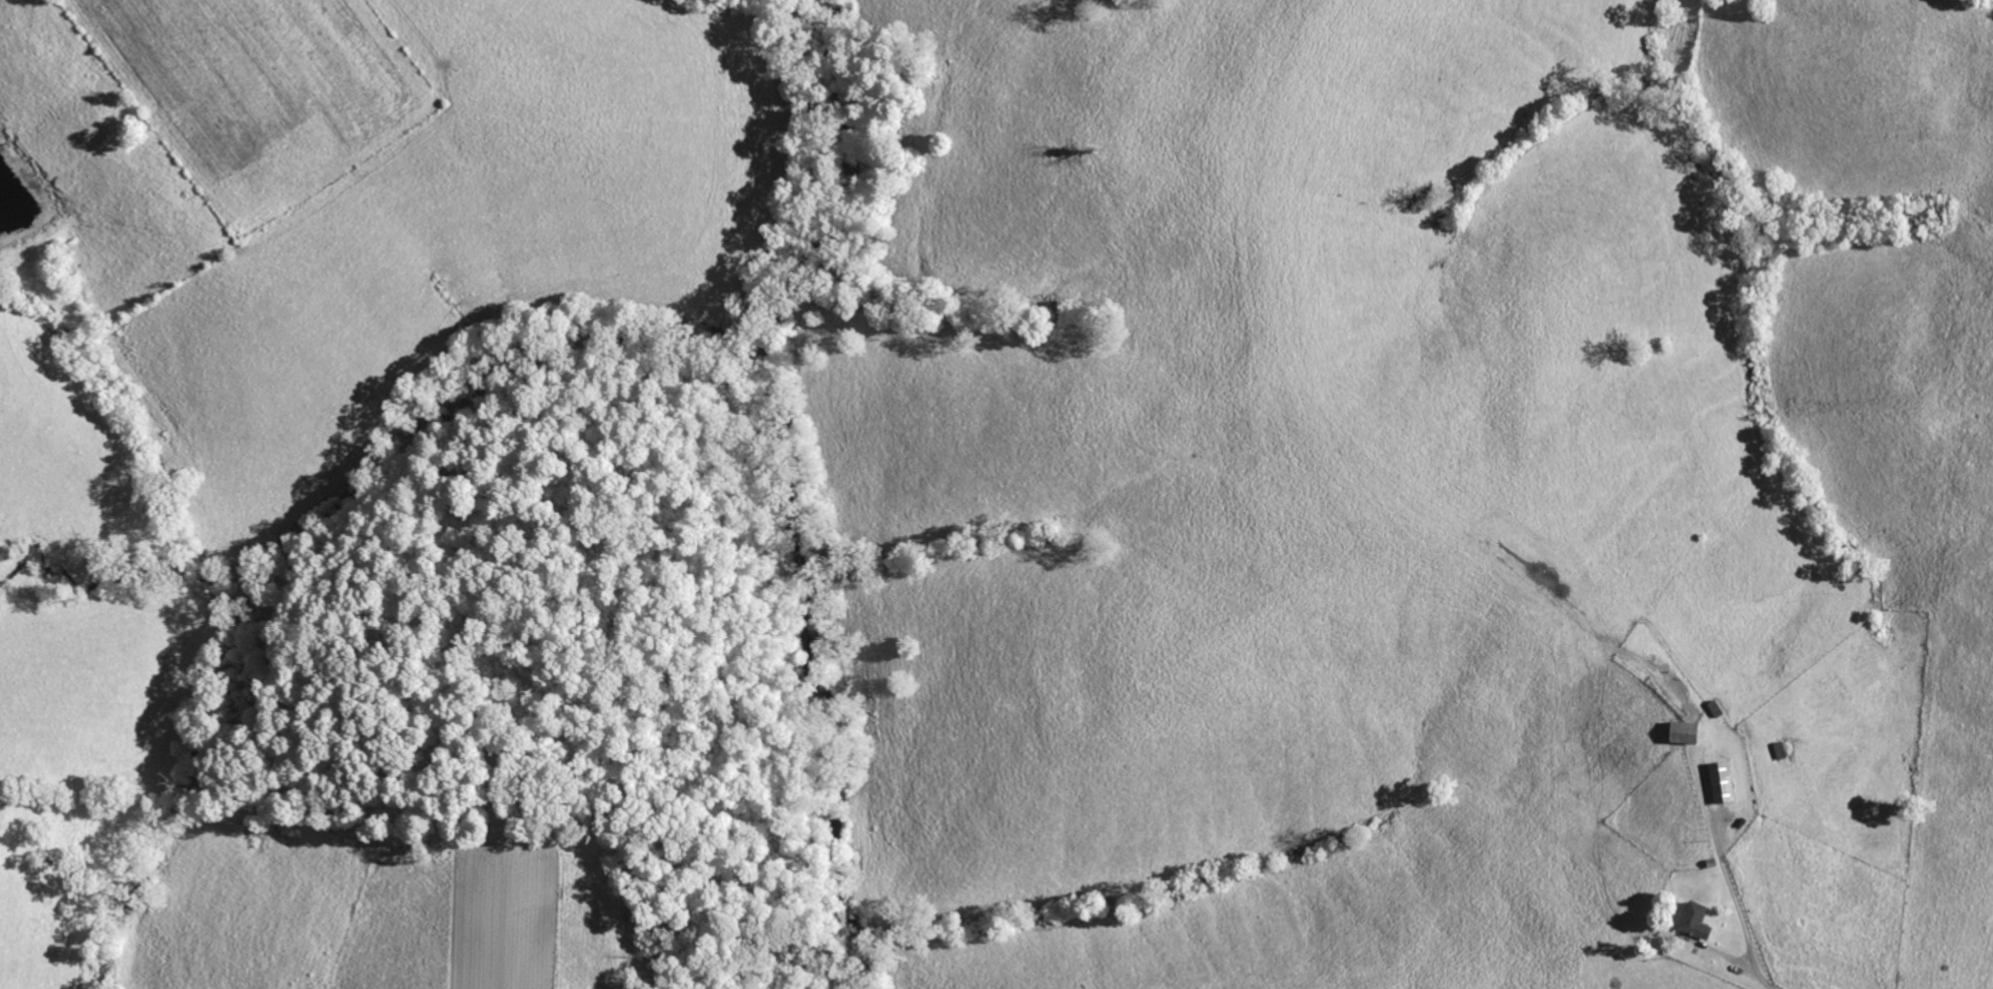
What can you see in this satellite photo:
building: (1681, 732)
road: (1719, 788)
building: (1691, 920)
road: (1703, 950)
road: (1989, 968)

